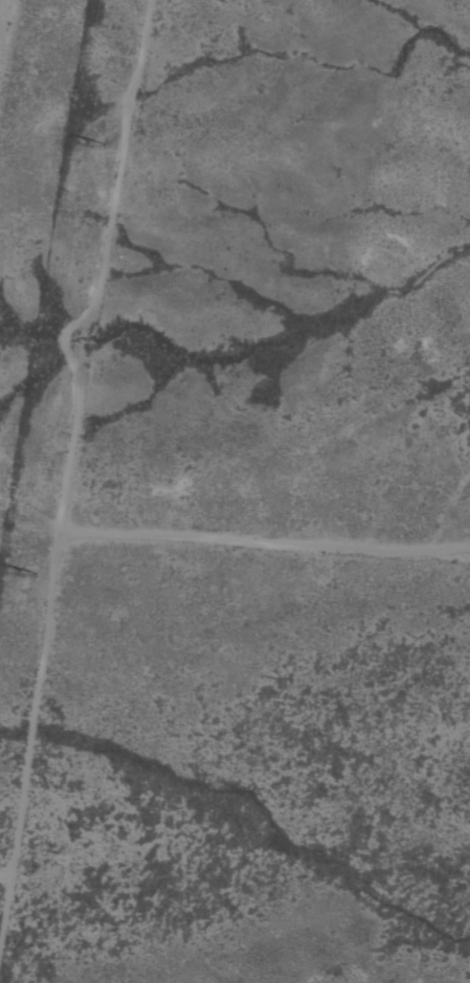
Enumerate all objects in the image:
power tower: (102, 146)
power tower: (33, 573)

